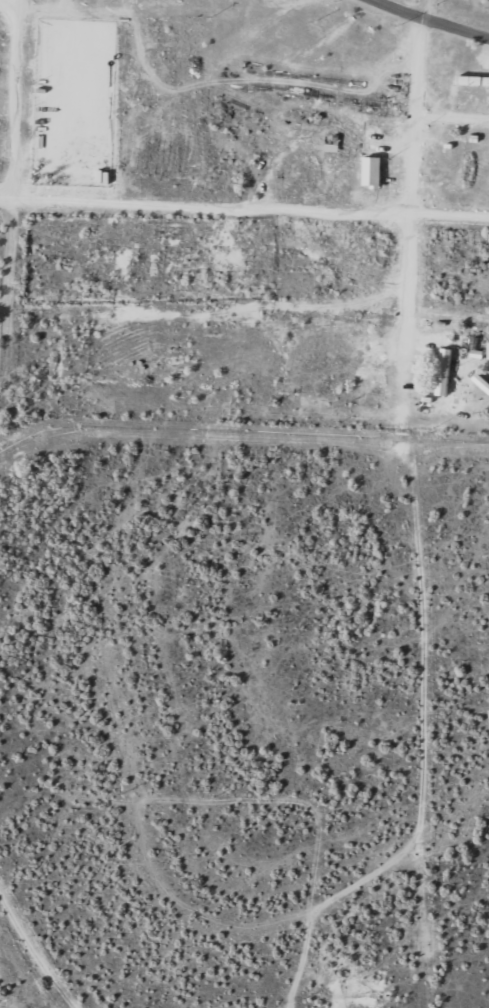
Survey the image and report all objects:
road: (434, 18)
building: (473, 81)
road: (420, 106)
road: (18, 156)
building: (374, 173)
road: (244, 206)
road: (410, 290)
building: (445, 371)
road: (49, 942)

